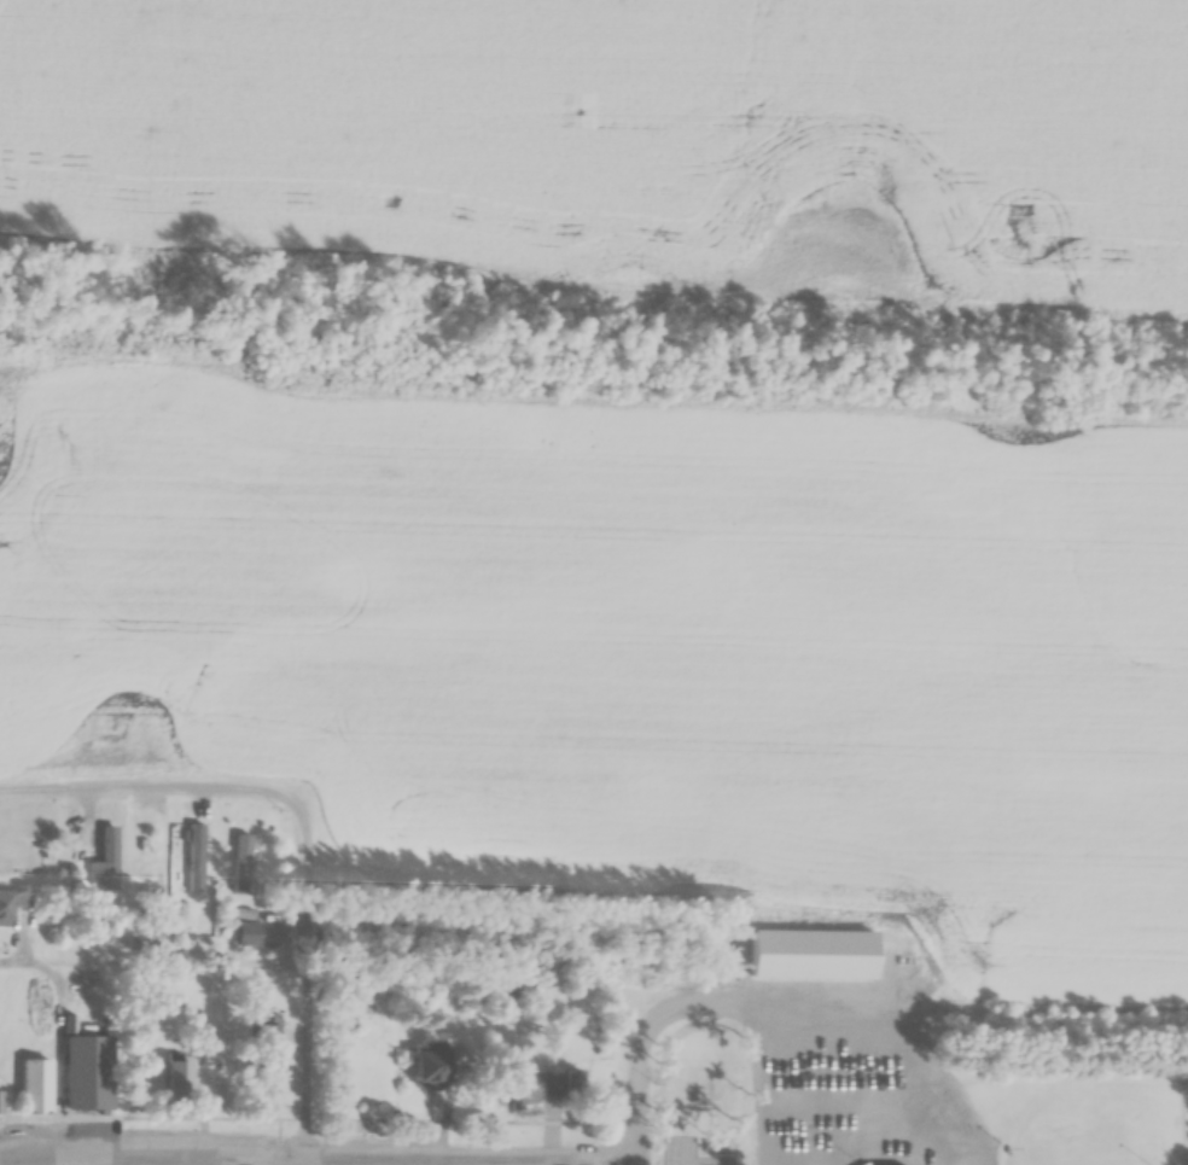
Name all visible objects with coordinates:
road: (146, 793)
building: (106, 863)
building: (186, 867)
building: (13, 904)
road: (295, 990)
road: (774, 1000)
building: (348, 1002)
building: (268, 1038)
building: (433, 1071)
building: (669, 1077)
building: (81, 1083)
building: (575, 1087)
building: (272, 1090)
building: (180, 1091)
building: (532, 1093)
building: (710, 1094)
building: (24, 1099)
building: (811, 1137)
building: (870, 1137)
park: (1070, 1149)

